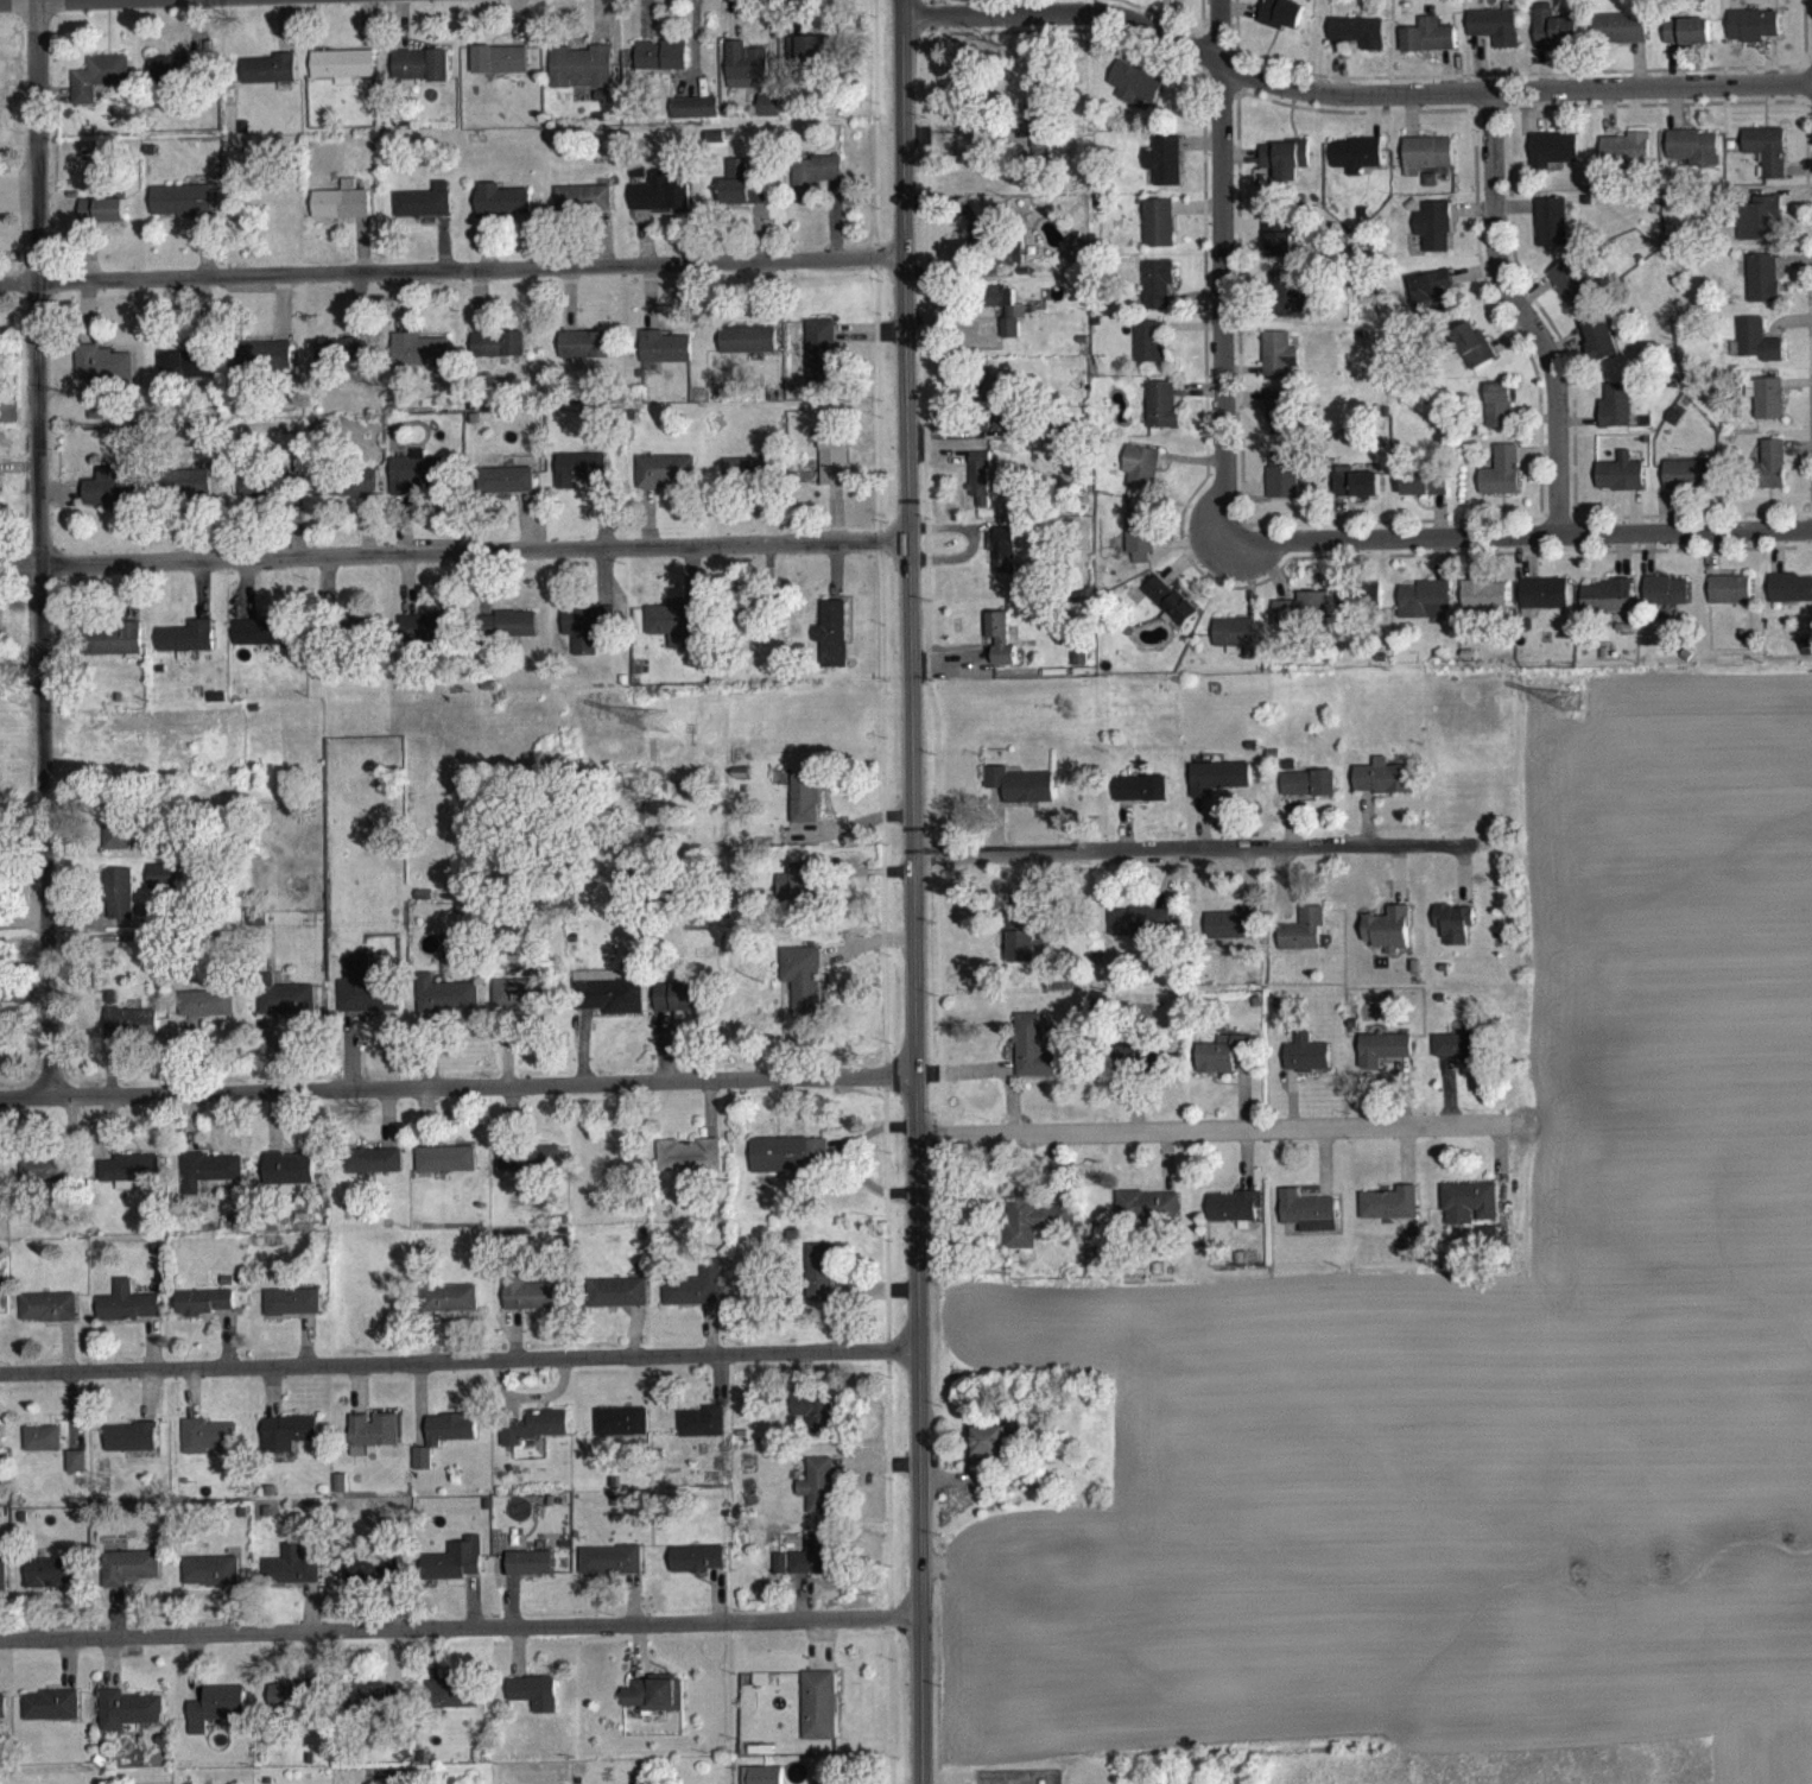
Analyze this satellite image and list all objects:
building: (1280, 23)
building: (1753, 37)
building: (1495, 38)
building: (1556, 38)
building: (1621, 39)
building: (1358, 43)
building: (1687, 43)
building: (1428, 48)
building: (806, 61)
building: (661, 67)
building: (500, 71)
building: (420, 76)
building: (746, 76)
building: (343, 77)
building: (582, 78)
building: (178, 80)
building: (268, 81)
building: (100, 89)
road: (1347, 93)
building: (1134, 96)
building: (768, 116)
building: (695, 119)
building: (1039, 138)
building: (1694, 158)
building: (1553, 160)
building: (1626, 160)
building: (1767, 162)
building: (1426, 165)
building: (1356, 166)
building: (1284, 170)
building: (1162, 172)
building: (813, 188)
building: (742, 197)
building: (660, 205)
building: (583, 210)
building: (502, 211)
building: (183, 213)
building: (425, 213)
building: (342, 214)
building: (103, 221)
building: (1765, 228)
building: (1157, 234)
building: (1551, 234)
building: (1434, 238)
building: (1279, 248)
building: (1006, 254)
road: (450, 267)
road: (1215, 273)
building: (1762, 290)
building: (1572, 293)
building: (1157, 297)
building: (1436, 297)
building: (1293, 309)
road: (1523, 314)
building: (1007, 321)
building: (1599, 349)
building: (748, 352)
building: (1151, 353)
building: (1755, 353)
building: (499, 355)
building: (1472, 356)
building: (585, 359)
building: (664, 359)
building: (420, 361)
building: (821, 362)
building: (342, 365)
building: (265, 367)
building: (1280, 367)
building: (103, 375)
building: (190, 377)
building: (1766, 409)
building: (999, 411)
building: (1161, 416)
building: (1497, 417)
building: (1615, 418)
building: (1282, 423)
building: (831, 468)
building: (1772, 475)
building: (1141, 479)
building: (579, 481)
building: (667, 482)
building: (748, 482)
building: (1501, 483)
building: (416, 486)
building: (1282, 486)
building: (1620, 486)
building: (1687, 486)
building: (980, 489)
building: (195, 492)
building: (506, 492)
building: (343, 494)
building: (1354, 494)
building: (1424, 494)
building: (253, 495)
building: (109, 499)
road: (1512, 537)
building: (1139, 548)
road: (454, 551)
road: (37, 552)
building: (1002, 562)
building: (1789, 600)
building: (1730, 601)
building: (1666, 602)
building: (1484, 606)
building: (1542, 607)
building: (1358, 608)
building: (1607, 608)
building: (1170, 612)
building: (1424, 612)
building: (1300, 621)
building: (674, 634)
building: (515, 635)
building: (424, 638)
building: (585, 638)
building: (264, 644)
building: (832, 645)
building: (1235, 647)
building: (186, 649)
building: (1000, 649)
building: (115, 652)
building: (1079, 669)
power tower: (1576, 701)
power tower: (661, 720)
building: (1216, 790)
building: (1383, 790)
building: (1309, 795)
building: (1021, 797)
building: (1141, 801)
building: (806, 809)
building: (116, 842)
road: (1193, 848)
building: (166, 890)
road: (913, 891)
building: (802, 898)
building: (119, 905)
building: (1141, 932)
building: (1453, 935)
building: (1231, 936)
building: (1304, 942)
building: (1388, 942)
building: (804, 989)
building: (368, 999)
building: (522, 1005)
building: (608, 1005)
building: (448, 1006)
building: (682, 1008)
building: (281, 1011)
building: (205, 1014)
building: (129, 1036)
building: (1034, 1058)
building: (1455, 1058)
building: (1382, 1061)
building: (1306, 1067)
building: (1135, 1070)
road: (457, 1093)
road: (1219, 1128)
building: (690, 1166)
building: (790, 1166)
building: (446, 1171)
building: (528, 1171)
building: (373, 1172)
building: (43, 1181)
building: (289, 1181)
building: (134, 1182)
building: (208, 1182)
building: (1468, 1214)
building: (1390, 1216)
building: (1147, 1217)
building: (1233, 1220)
building: (1307, 1223)
building: (1033, 1231)
building: (819, 1284)
building: (696, 1298)
building: (617, 1304)
building: (530, 1307)
building: (450, 1310)
building: (205, 1314)
building: (292, 1314)
building: (128, 1315)
building: (49, 1320)
road: (458, 1360)
building: (816, 1424)
building: (622, 1434)
building: (703, 1434)
building: (536, 1438)
building: (289, 1444)
building: (373, 1444)
building: (444, 1447)
building: (208, 1448)
building: (131, 1449)
building: (43, 1450)
building: (0, 1451)
building: (991, 1453)
building: (76, 1473)
building: (340, 1495)
building: (819, 1498)
building: (816, 1568)
building: (612, 1571)
building: (697, 1571)
building: (455, 1573)
building: (530, 1575)
building: (781, 1575)
building: (129, 1579)
building: (291, 1579)
building: (375, 1581)
building: (2, 1582)
building: (211, 1582)
building: (52, 1584)
road: (460, 1625)
building: (536, 1704)
building: (452, 1706)
building: (655, 1707)
building: (292, 1708)
building: (369, 1708)
building: (51, 1717)
building: (819, 1717)
building: (2, 1719)
building: (216, 1719)
building: (128, 1721)
building: (764, 1780)

